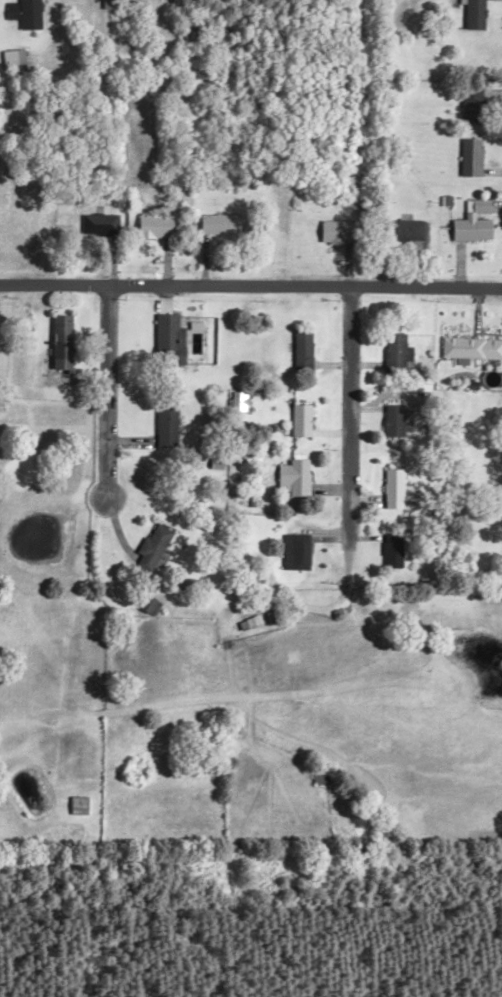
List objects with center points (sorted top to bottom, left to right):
building: (104, 3)
building: (19, 12)
building: (469, 13)
building: (5, 58)
building: (468, 155)
building: (471, 220)
building: (95, 222)
building: (213, 222)
building: (148, 224)
building: (401, 227)
building: (332, 230)
road: (250, 285)
building: (162, 337)
building: (56, 340)
building: (470, 346)
building: (297, 348)
building: (393, 351)
road: (103, 392)
building: (232, 399)
road: (348, 413)
building: (296, 418)
building: (391, 418)
building: (160, 421)
building: (289, 476)
building: (392, 487)
building: (147, 547)
building: (389, 549)
building: (292, 550)
building: (185, 583)
building: (143, 604)
building: (74, 802)

